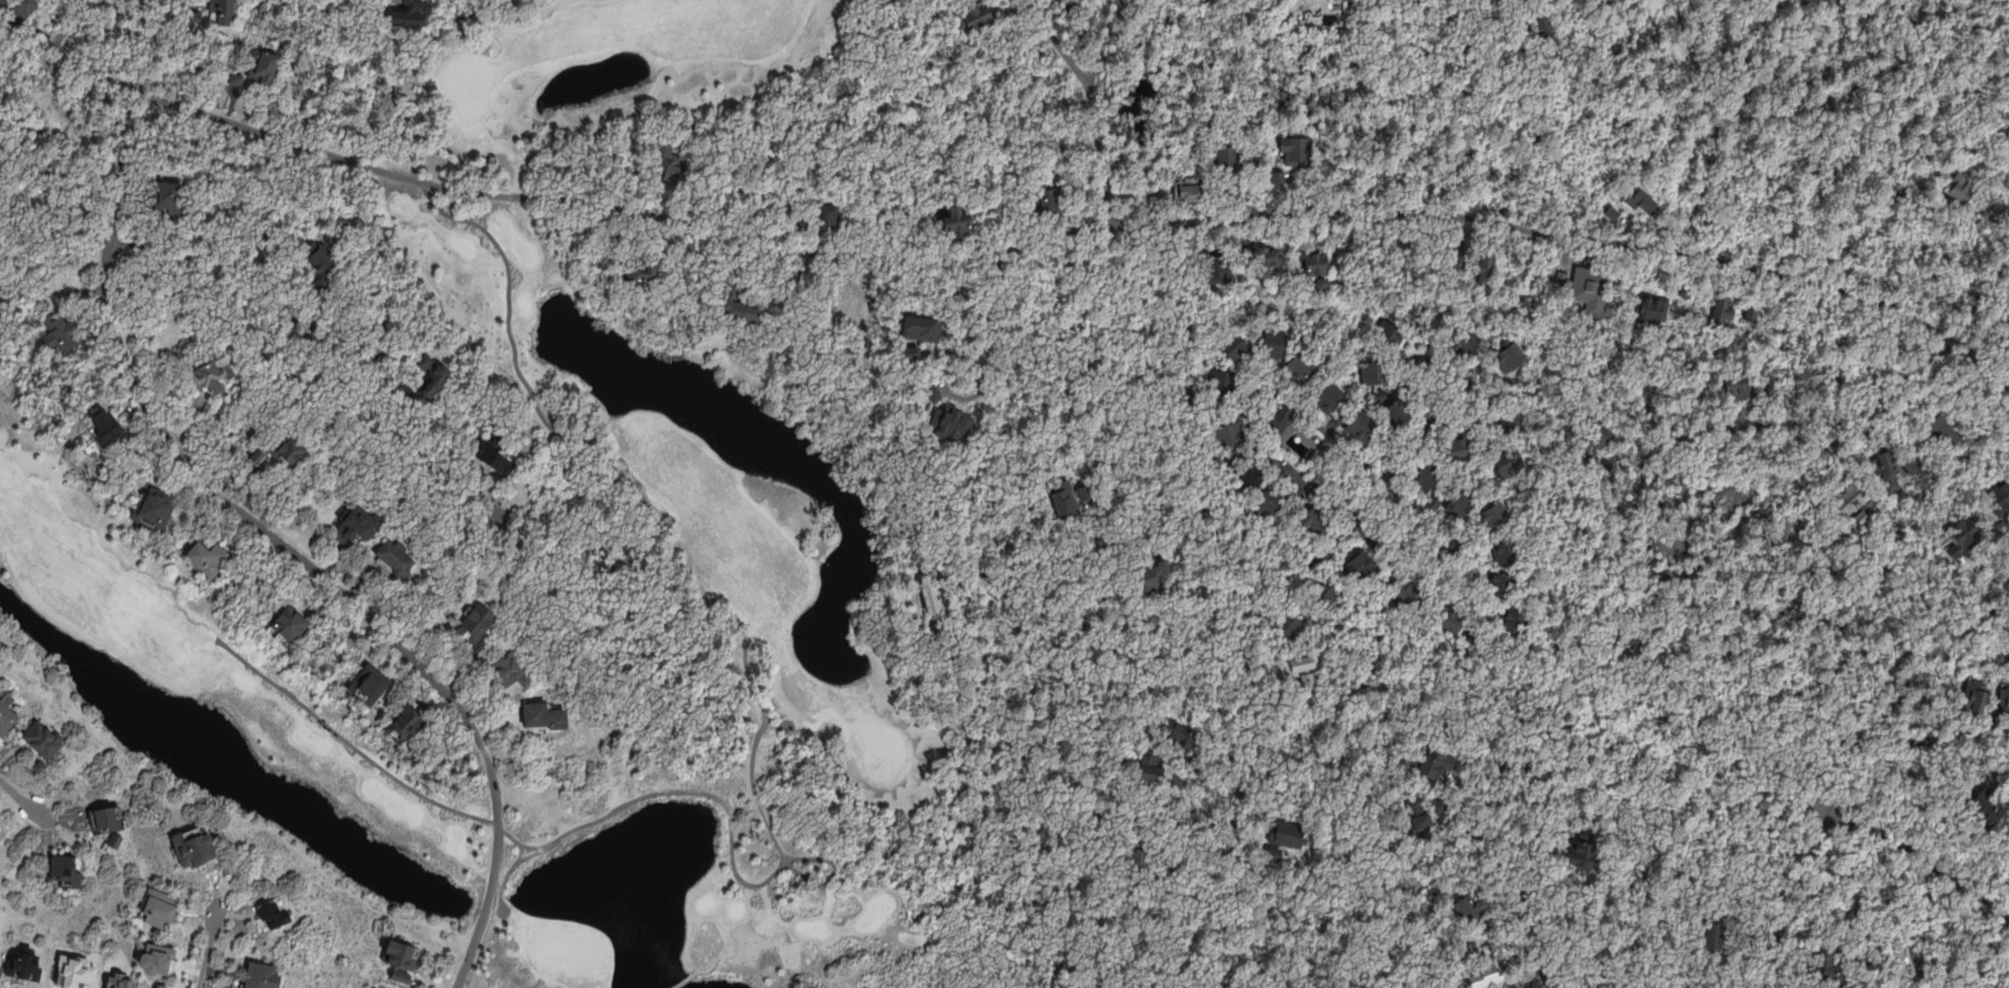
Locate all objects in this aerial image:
building: (18, 8)
building: (225, 11)
building: (977, 12)
building: (197, 17)
building: (1542, 19)
road: (58, 47)
building: (263, 69)
building: (236, 79)
road: (1086, 85)
road: (1775, 114)
road: (1717, 132)
building: (1298, 152)
road: (1107, 155)
building: (1227, 161)
building: (669, 166)
road: (1455, 174)
building: (1280, 180)
building: (1960, 187)
building: (1189, 190)
building: (169, 193)
building: (1156, 197)
building: (1991, 197)
building: (1049, 202)
road: (905, 208)
building: (820, 215)
building: (959, 223)
road: (1073, 233)
building: (1268, 259)
building: (1459, 259)
building: (1315, 261)
building: (1484, 270)
building: (646, 271)
building: (1217, 271)
building: (1563, 277)
building: (1322, 283)
building: (1590, 290)
road: (48, 299)
road: (1980, 303)
building: (740, 306)
building: (1654, 308)
road: (986, 310)
building: (1737, 311)
building: (2008, 323)
building: (59, 331)
building: (1394, 337)
building: (1466, 342)
building: (1274, 343)
building: (2008, 344)
building: (1236, 347)
road: (319, 352)
building: (1510, 357)
road: (1451, 358)
building: (1300, 365)
road: (1916, 369)
building: (1811, 371)
building: (1375, 372)
building: (210, 376)
building: (433, 376)
building: (1225, 382)
building: (1747, 382)
building: (1381, 395)
building: (1332, 402)
building: (1399, 411)
building: (1284, 418)
building: (1516, 421)
building: (106, 426)
building: (1366, 429)
building: (1945, 431)
building: (1231, 434)
building: (1591, 438)
building: (1460, 449)
building: (289, 450)
building: (95, 454)
building: (257, 455)
building: (494, 456)
building: (1292, 459)
building: (1510, 460)
road: (1368, 467)
building: (1888, 469)
building: (1429, 475)
building: (1247, 476)
building: (1998, 498)
building: (1271, 502)
building: (1464, 503)
building: (1857, 504)
building: (153, 508)
building: (1498, 517)
road: (253, 520)
building: (1316, 521)
building: (359, 523)
road: (1355, 524)
building: (1455, 540)
road: (1111, 547)
building: (1510, 552)
building: (209, 558)
building: (394, 561)
building: (1362, 563)
road: (1679, 574)
building: (1147, 576)
building: (1505, 582)
building: (1331, 595)
building: (1405, 598)
road: (1236, 613)
building: (1293, 617)
building: (1516, 618)
building: (1451, 621)
building: (477, 622)
building: (287, 623)
building: (1633, 637)
building: (1306, 668)
building: (509, 674)
building: (369, 684)
building: (1975, 693)
building: (2001, 705)
building: (5, 707)
road: (1945, 713)
building: (546, 717)
building: (403, 723)
building: (43, 736)
building: (1186, 741)
road: (1836, 750)
building: (40, 764)
road: (1846, 766)
building: (1156, 767)
road: (1491, 772)
road: (20, 798)
building: (1988, 807)
building: (106, 820)
road: (1166, 821)
road: (1874, 833)
building: (115, 840)
building: (193, 848)
building: (1584, 852)
building: (1169, 862)
building: (1136, 863)
building: (65, 869)
road: (1928, 882)
building: (161, 908)
building: (1474, 912)
building: (275, 913)
road: (1534, 921)
building: (1716, 930)
road: (208, 951)
building: (156, 958)
building: (401, 959)
building: (24, 963)
building: (1835, 965)
building: (262, 975)
building: (120, 980)
road: (677, 982)
building: (162, 986)

